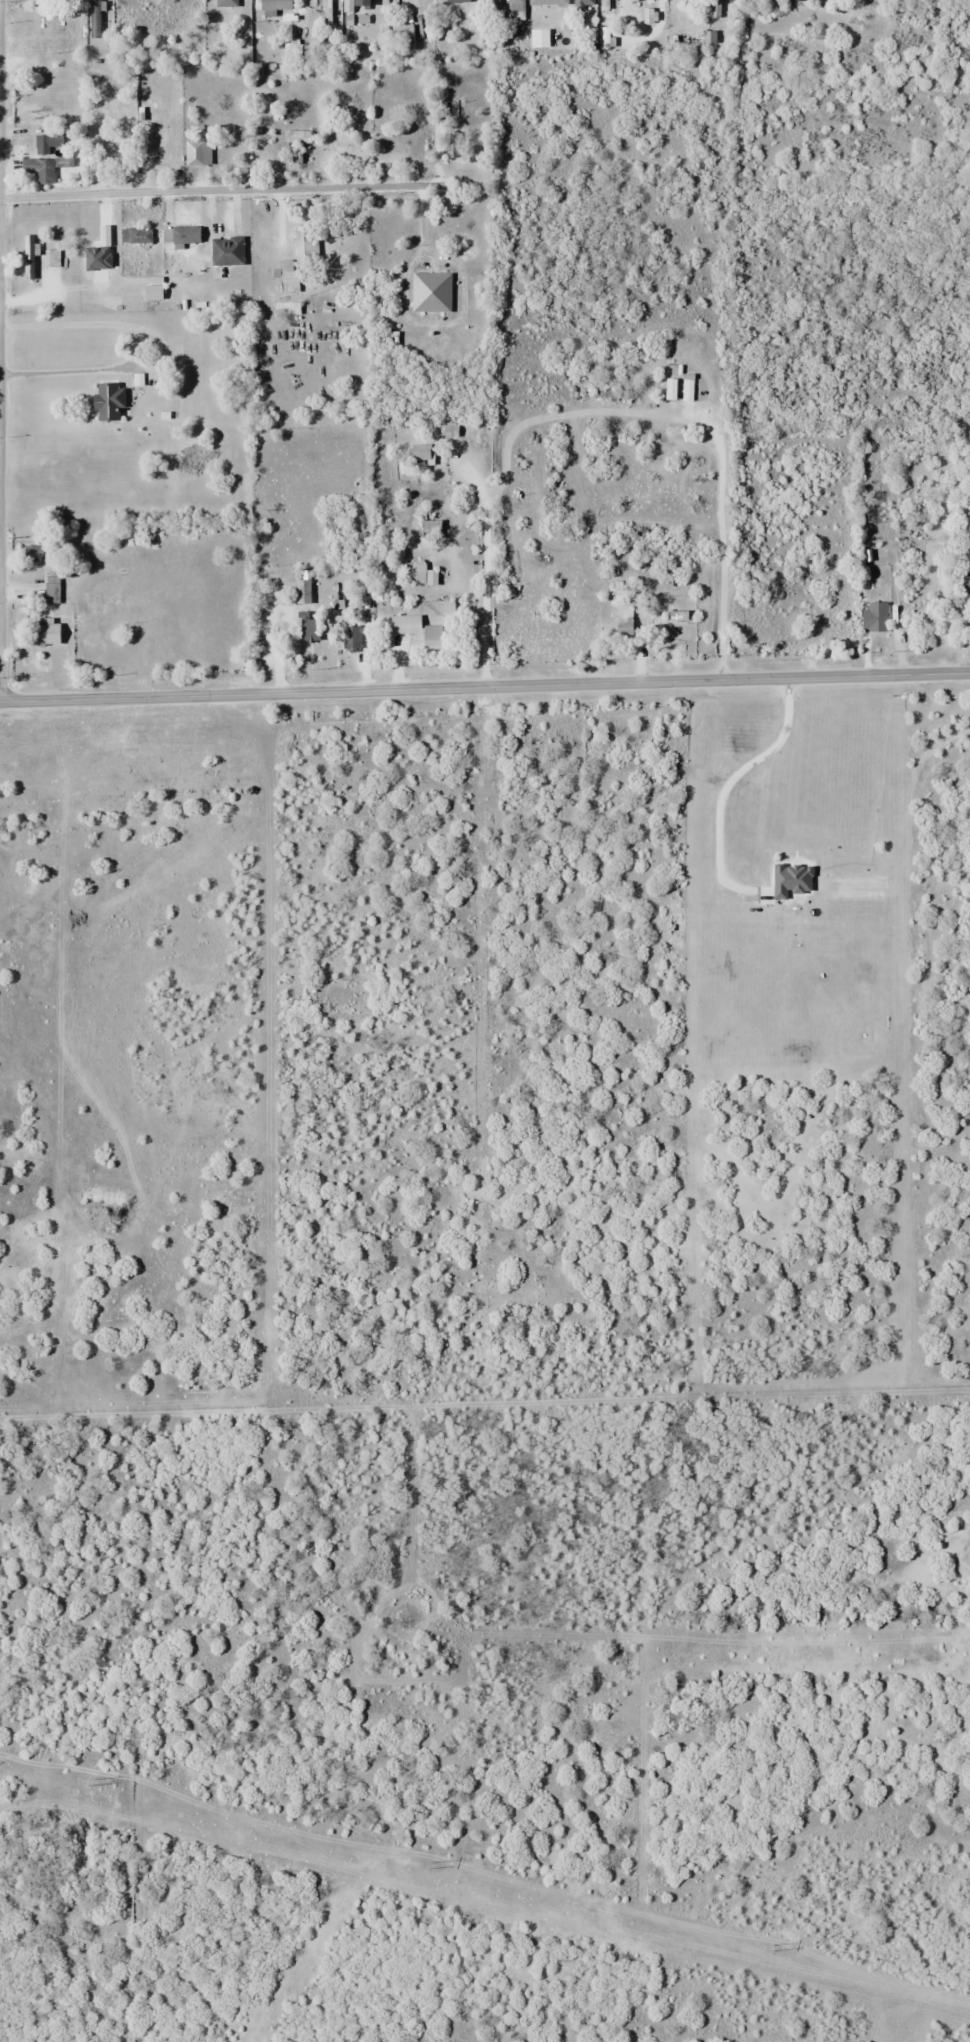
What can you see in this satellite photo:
building: (66, 0)
building: (632, 0)
building: (648, 0)
building: (456, 1)
building: (38, 2)
building: (547, 2)
building: (226, 3)
building: (359, 3)
building: (491, 3)
building: (604, 4)
building: (272, 5)
building: (514, 6)
building: (156, 7)
building: (713, 8)
building: (326, 12)
building: (648, 15)
building: (41, 20)
building: (708, 39)
building: (43, 62)
building: (47, 85)
building: (47, 144)
building: (196, 153)
building: (261, 153)
building: (38, 169)
road: (222, 190)
building: (134, 235)
building: (181, 235)
building: (305, 245)
building: (28, 257)
building: (51, 258)
building: (430, 292)
building: (286, 308)
building: (687, 387)
building: (669, 393)
building: (107, 402)
building: (420, 452)
building: (413, 572)
building: (873, 616)
building: (623, 622)
building: (404, 624)
building: (44, 633)
building: (350, 637)
road: (485, 686)
power tower: (92, 1780)
power tower: (431, 1862)
power tower: (772, 1948)

